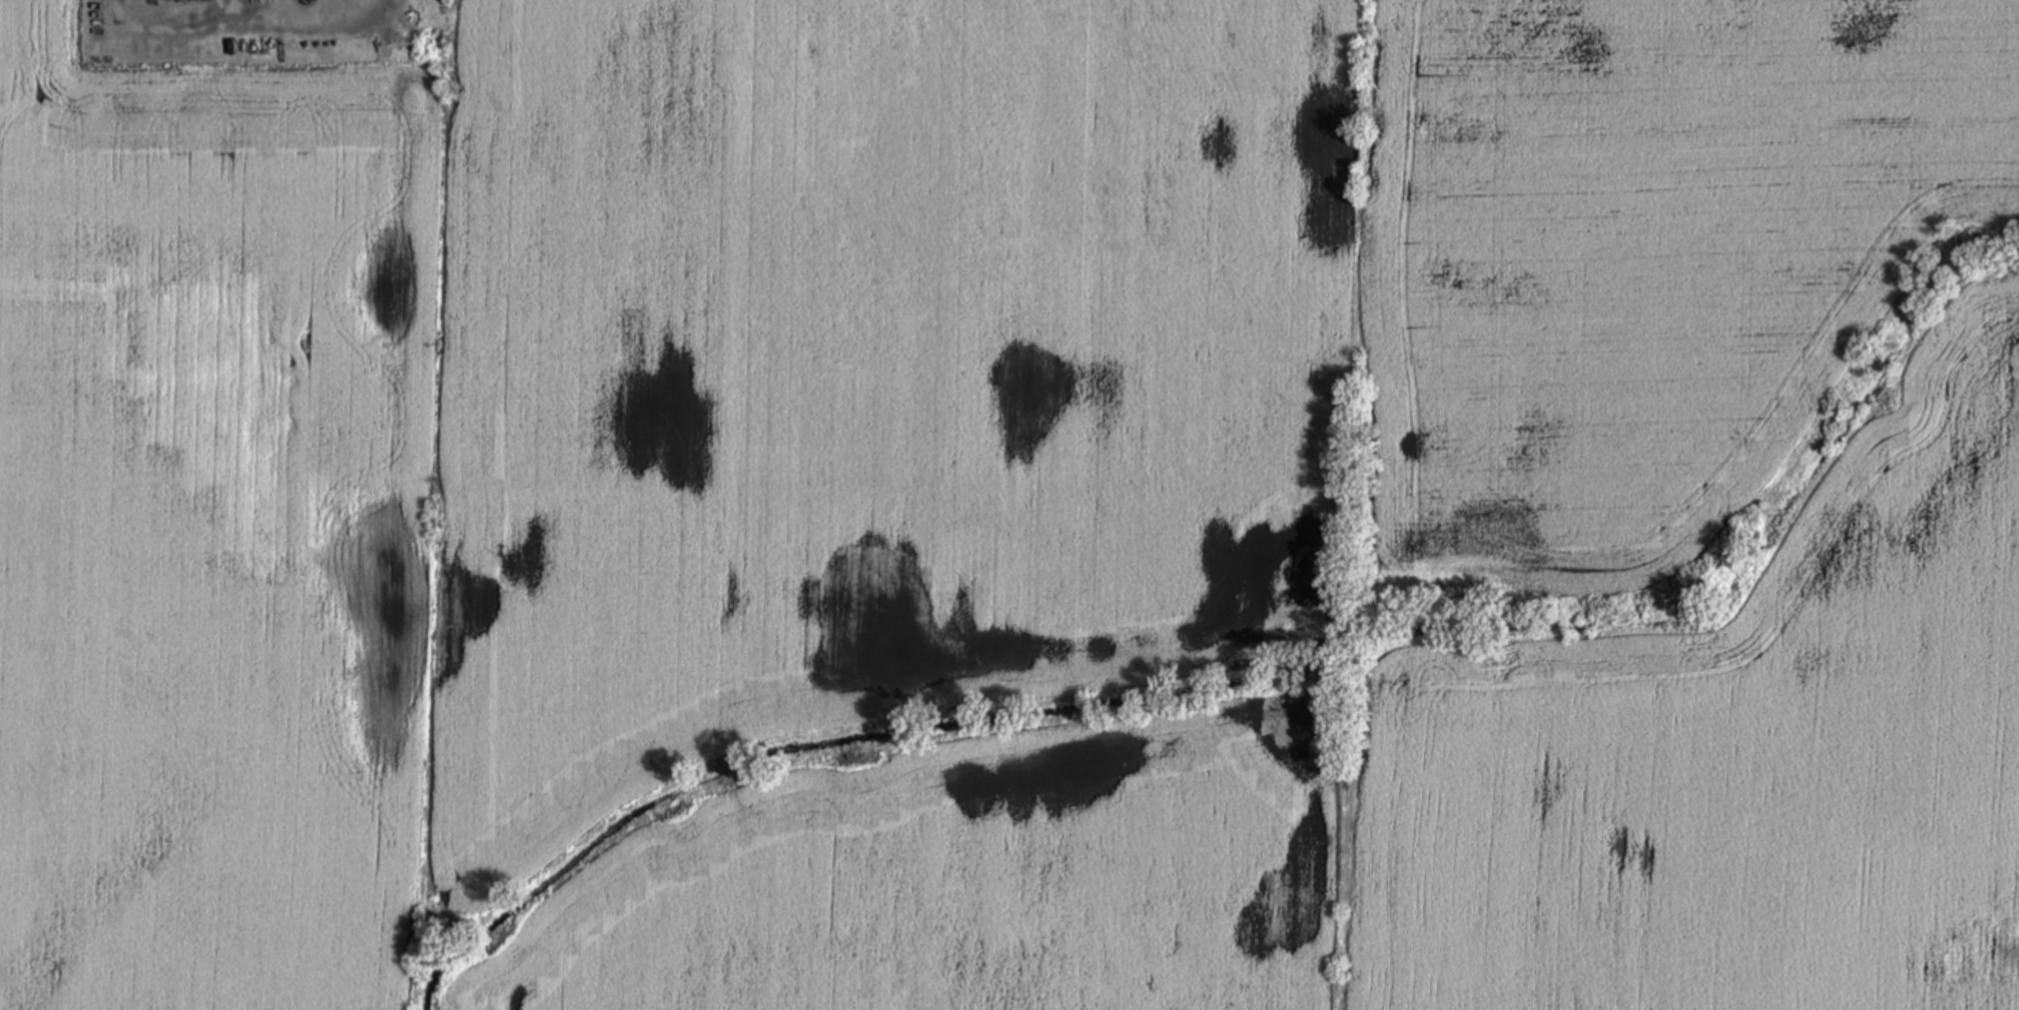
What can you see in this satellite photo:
building: (213, 46)

